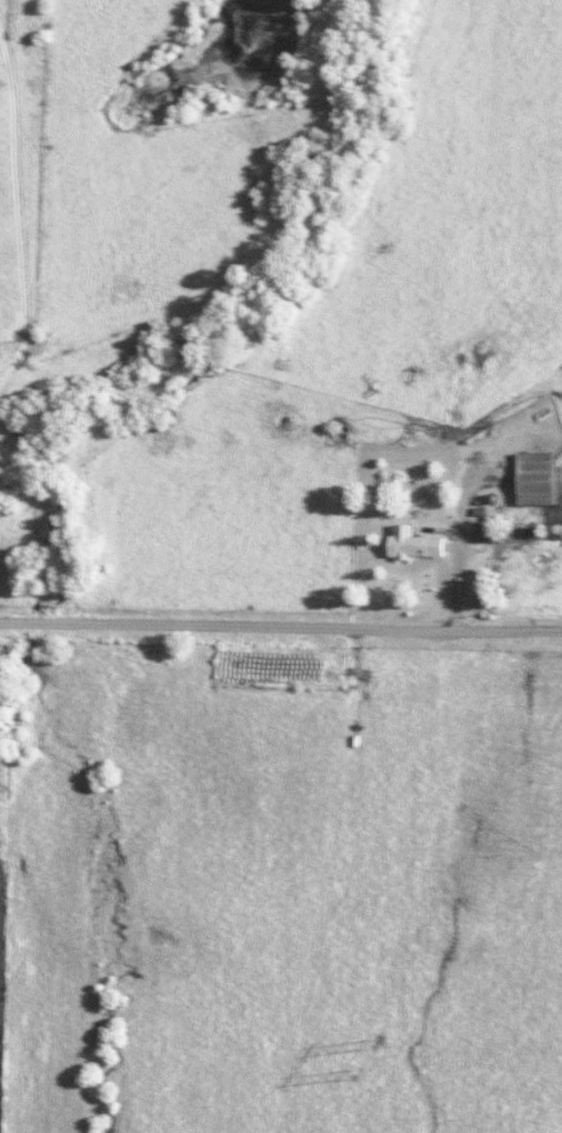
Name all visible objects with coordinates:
building: (532, 478)
building: (484, 533)
building: (409, 543)
road: (280, 626)
power tower: (360, 1041)
power tower: (349, 1075)

